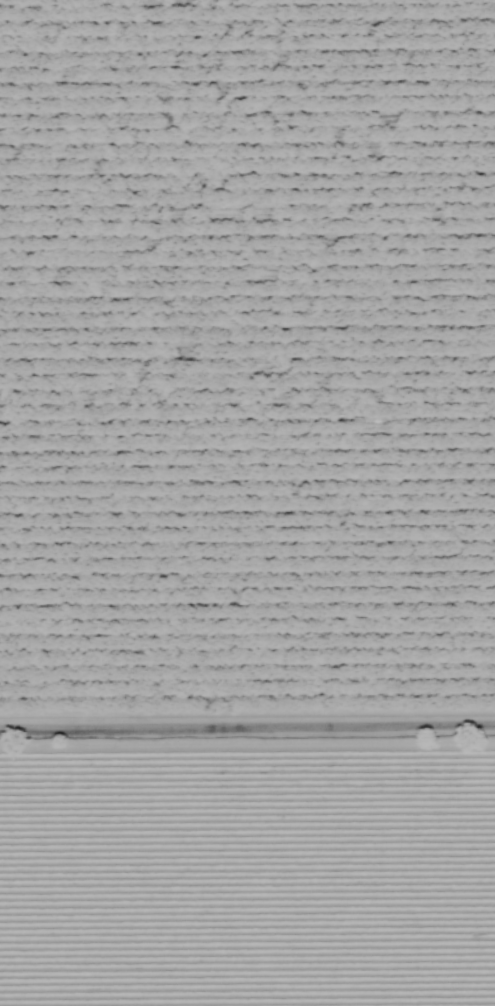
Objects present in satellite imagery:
road: (212, 725)
road: (10, 983)

